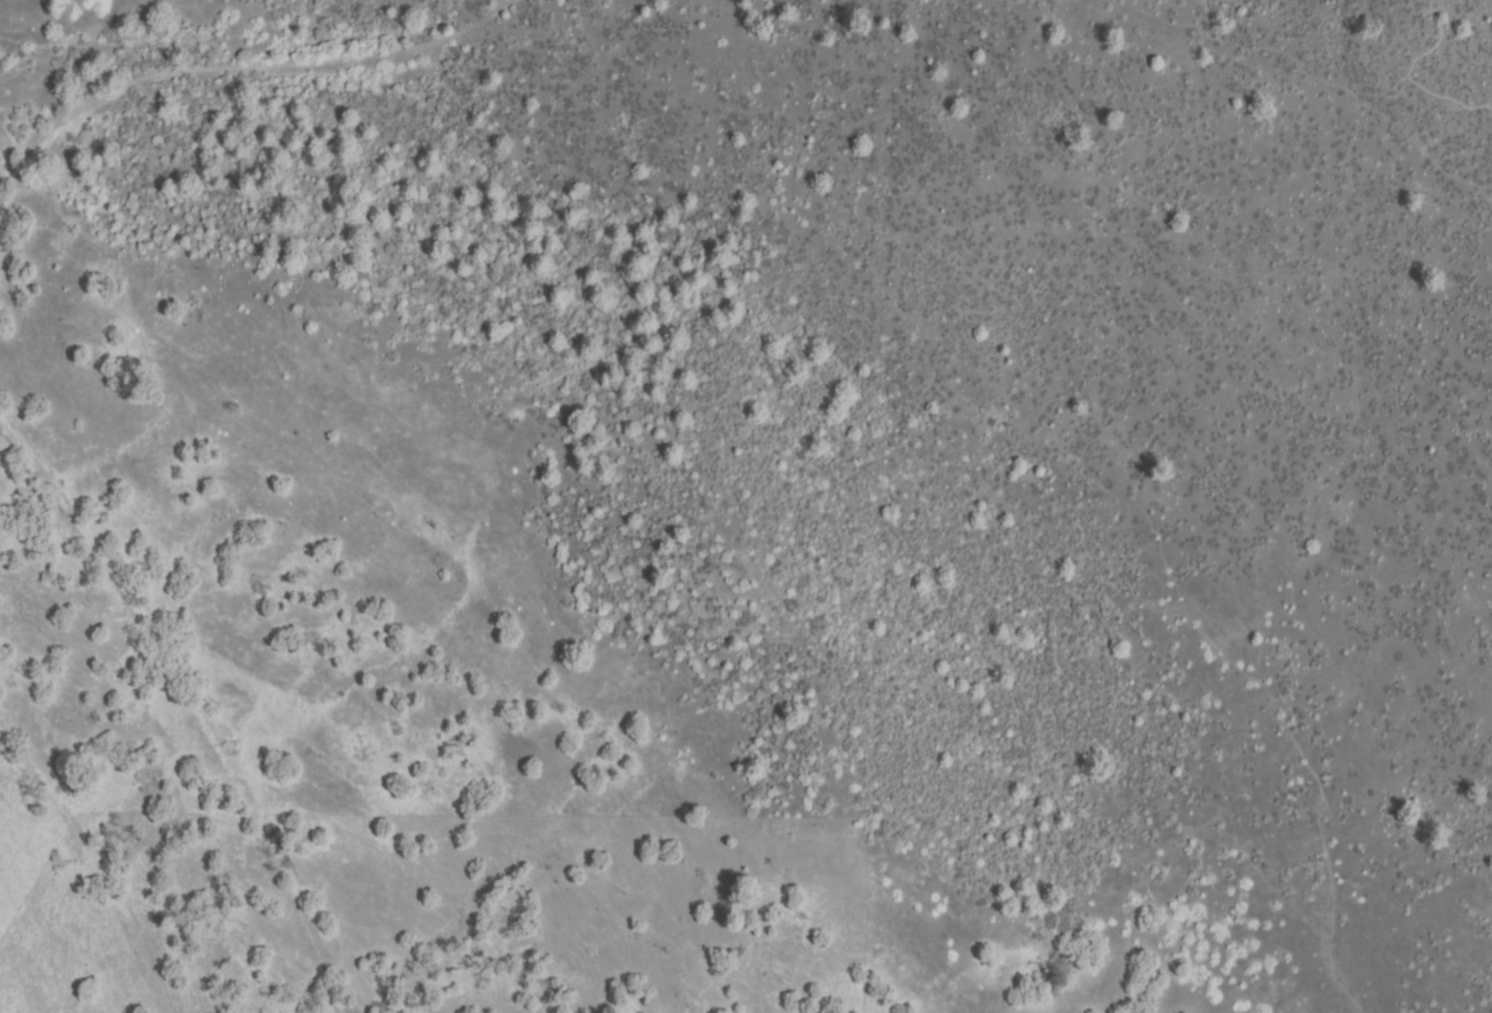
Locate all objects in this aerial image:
road: (1413, 75)

